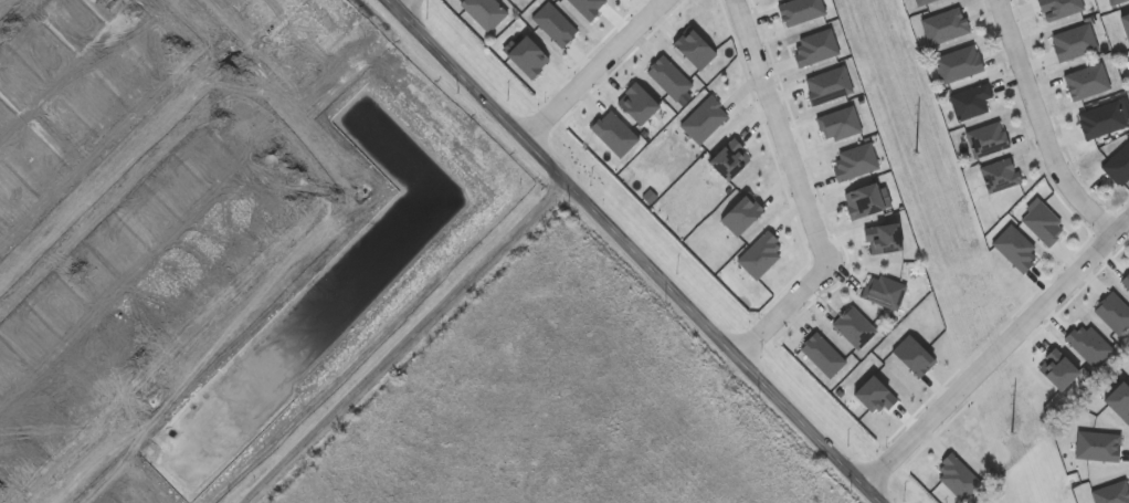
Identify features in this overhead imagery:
building: (515, 0)
building: (530, 0)
road: (402, 7)
road: (10, 9)
building: (484, 11)
road: (337, 61)
building: (958, 62)
road: (587, 69)
road: (351, 75)
building: (970, 99)
building: (1100, 118)
road: (1043, 126)
building: (985, 138)
building: (1118, 164)
building: (1000, 174)
road: (116, 175)
road: (803, 193)
road: (303, 248)
road: (630, 251)
road: (407, 344)
road: (994, 353)

